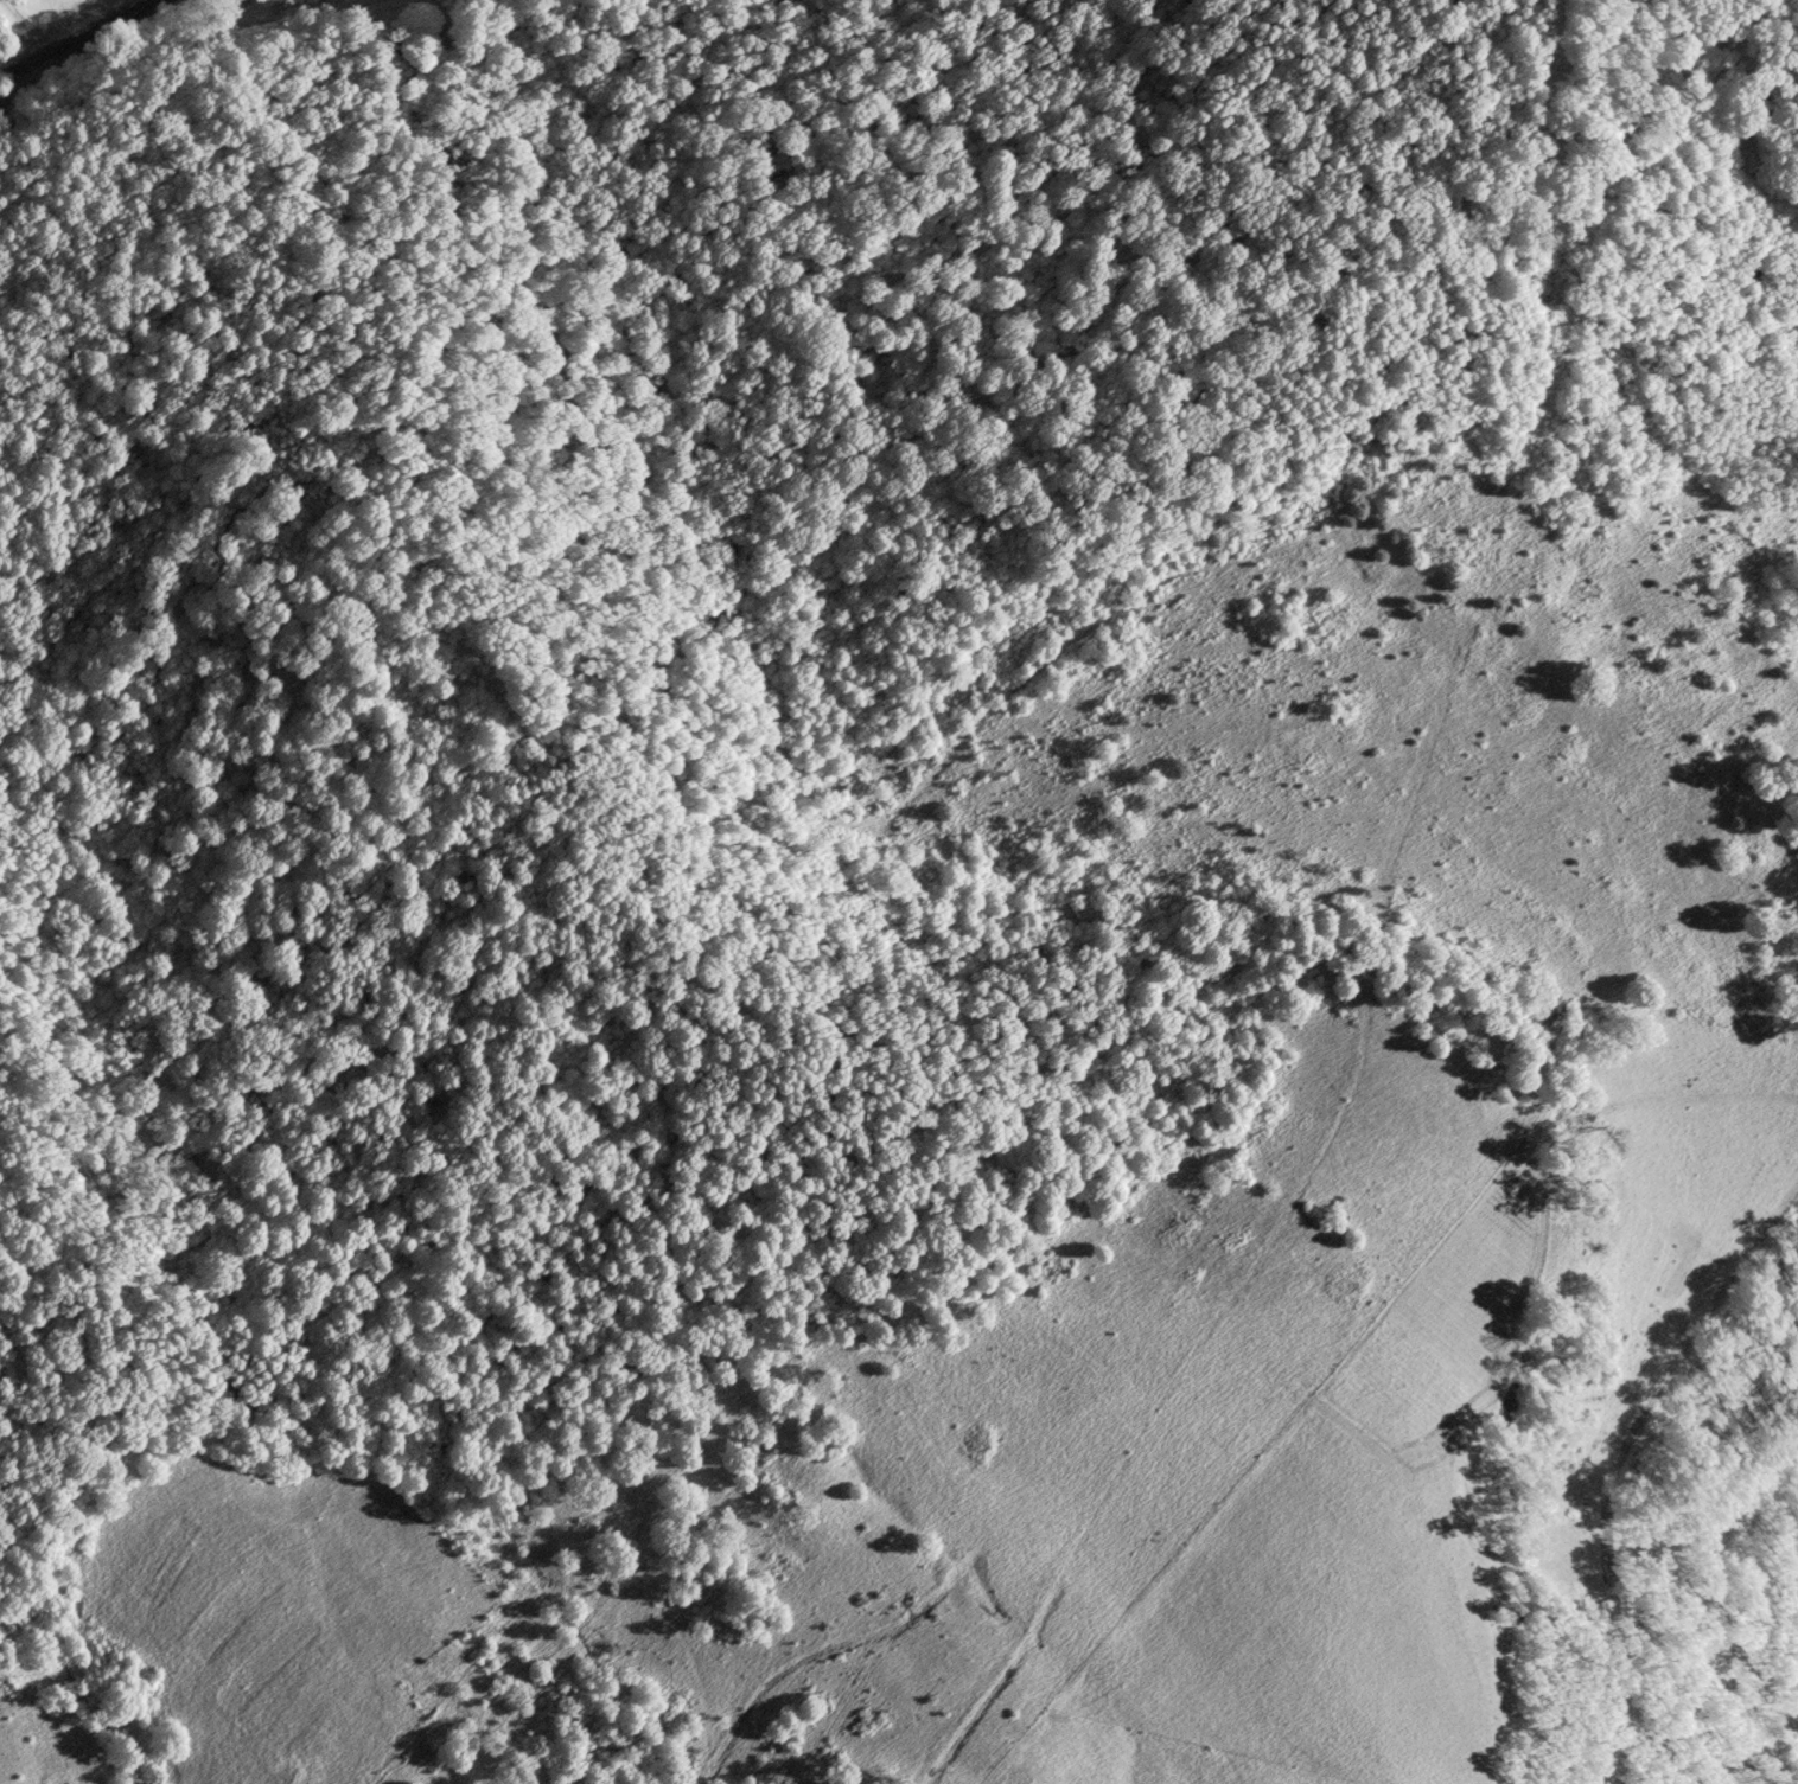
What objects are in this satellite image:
road: (60, 26)
building: (70, 1599)

